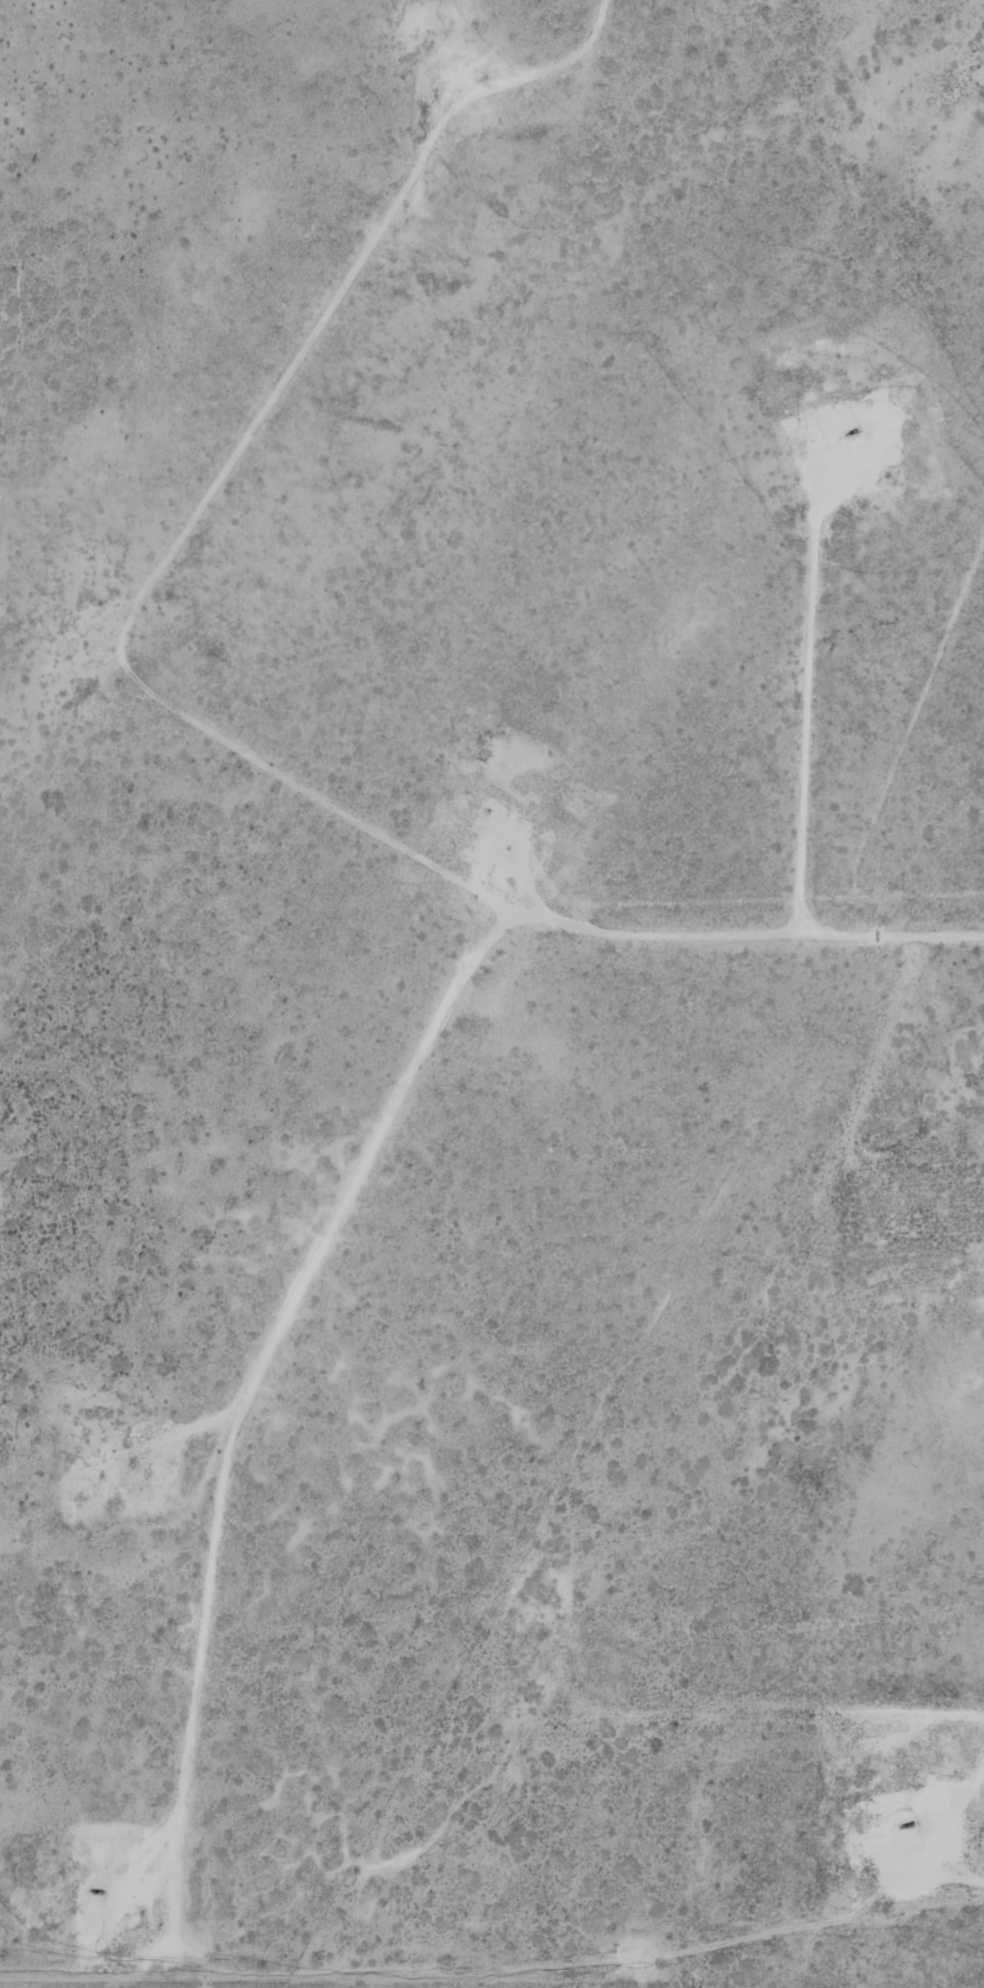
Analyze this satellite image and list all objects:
road: (288, 808)
road: (325, 1174)
road: (455, 1297)

